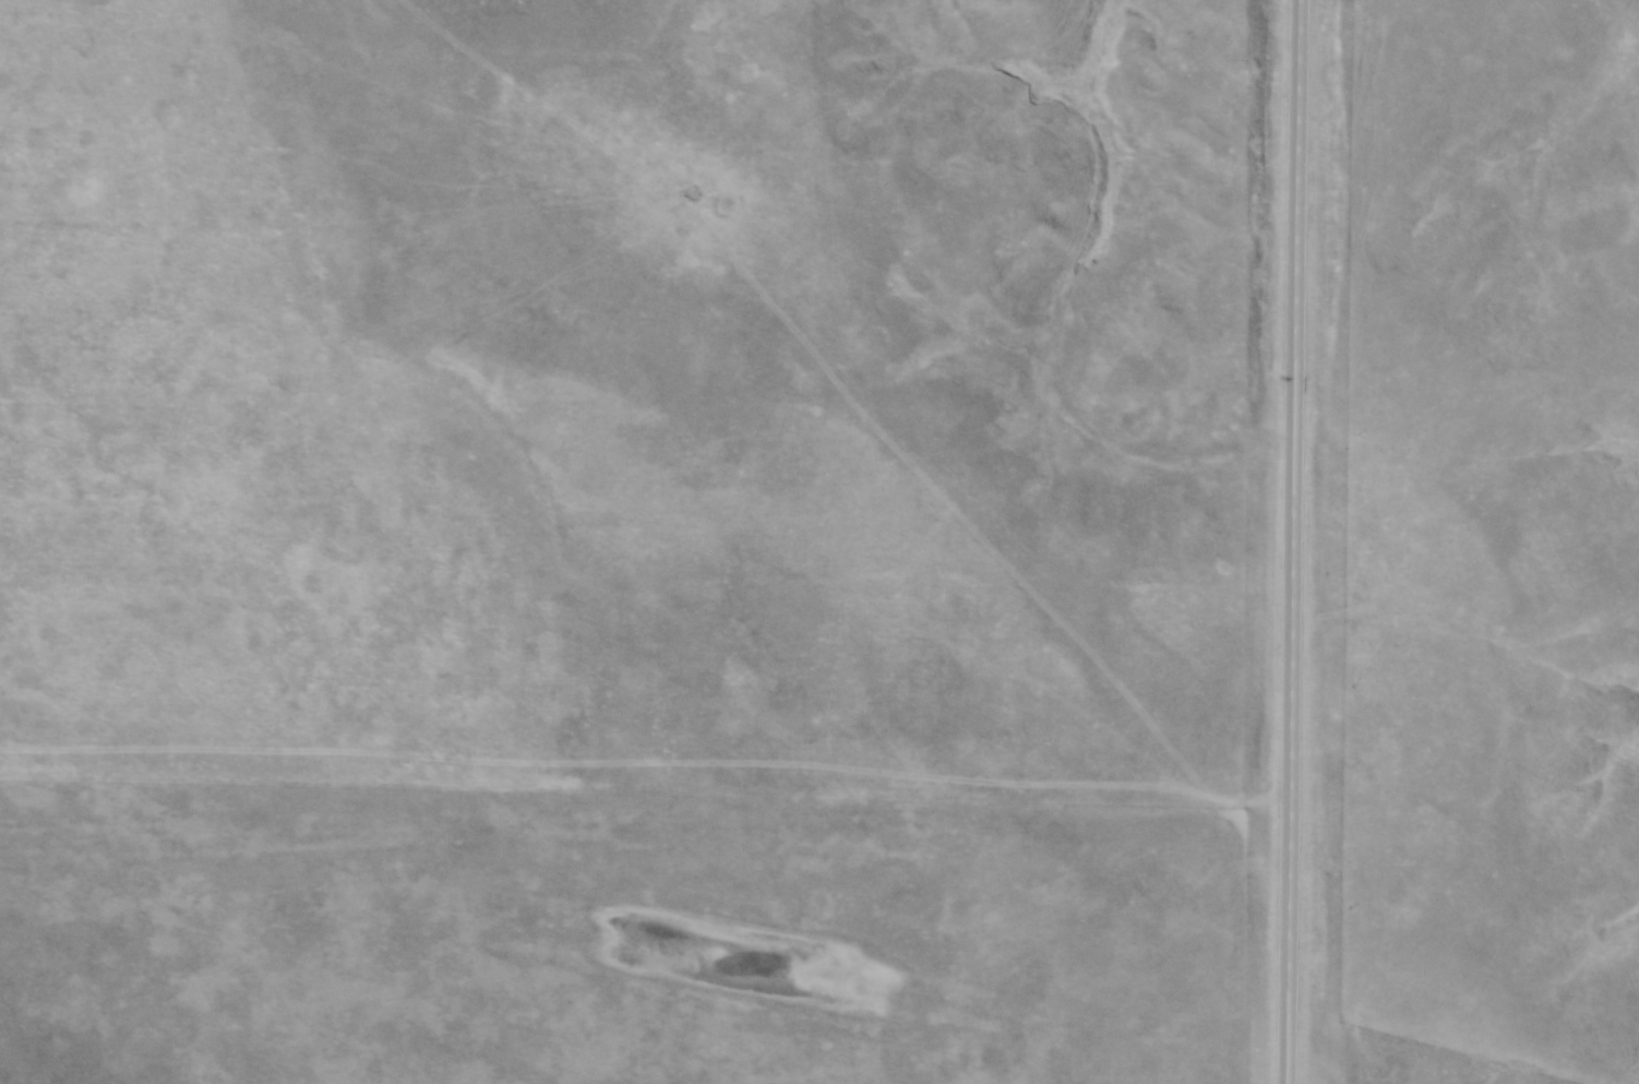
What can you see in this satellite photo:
road: (1289, 541)

